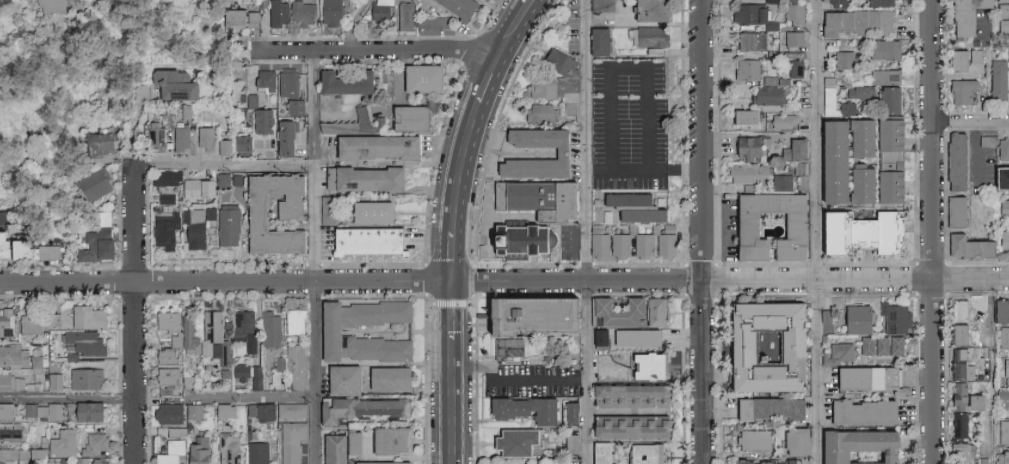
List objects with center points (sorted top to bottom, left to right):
building: (97, 0)
building: (786, 0)
building: (1003, 0)
building: (259, 3)
building: (880, 3)
building: (834, 4)
building: (60, 6)
building: (456, 6)
building: (599, 6)
building: (646, 10)
building: (276, 12)
building: (330, 12)
building: (299, 13)
building: (792, 13)
building: (229, 16)
building: (251, 16)
building: (963, 16)
building: (1003, 18)
building: (863, 22)
road: (354, 24)
road: (519, 24)
building: (827, 24)
building: (649, 37)
building: (792, 39)
building: (749, 41)
building: (595, 42)
road: (380, 50)
building: (885, 50)
building: (1008, 55)
building: (975, 56)
building: (842, 60)
building: (956, 60)
building: (793, 68)
park: (84, 69)
road: (627, 69)
building: (745, 69)
road: (491, 75)
building: (416, 77)
building: (885, 77)
building: (264, 78)
building: (998, 79)
building: (556, 80)
building: (339, 81)
building: (286, 82)
building: (173, 84)
building: (960, 91)
building: (857, 92)
building: (767, 94)
building: (888, 100)
building: (291, 105)
building: (836, 106)
building: (540, 112)
building: (739, 115)
building: (409, 117)
building: (782, 120)
road: (971, 122)
building: (272, 128)
building: (856, 136)
building: (203, 137)
building: (155, 138)
building: (180, 138)
building: (889, 138)
road: (587, 139)
road: (704, 139)
building: (241, 142)
building: (96, 145)
building: (371, 145)
building: (222, 146)
building: (748, 146)
building: (1003, 148)
building: (793, 149)
road: (977, 151)
building: (559, 152)
building: (828, 160)
building: (954, 160)
road: (224, 165)
road: (463, 166)
road: (589, 169)
road: (628, 169)
road: (685, 169)
building: (746, 173)
building: (164, 177)
building: (781, 182)
building: (91, 184)
building: (856, 184)
building: (888, 186)
building: (194, 187)
building: (164, 197)
building: (536, 198)
building: (631, 206)
building: (1004, 206)
building: (954, 210)
building: (367, 211)
building: (207, 212)
building: (256, 212)
building: (103, 218)
building: (742, 224)
building: (225, 226)
building: (191, 228)
building: (162, 230)
building: (841, 231)
road: (934, 231)
road: (819, 232)
building: (887, 232)
building: (526, 238)
building: (362, 239)
building: (662, 239)
building: (597, 240)
building: (1005, 240)
building: (92, 244)
building: (618, 244)
building: (641, 244)
building: (967, 246)
building: (12, 247)
building: (42, 252)
road: (316, 256)
road: (455, 256)
road: (504, 280)
road: (454, 309)
building: (956, 309)
building: (614, 310)
building: (999, 310)
building: (652, 311)
building: (374, 312)
building: (523, 313)
road: (136, 315)
building: (895, 317)
building: (855, 318)
building: (61, 319)
building: (164, 321)
building: (293, 321)
building: (5, 322)
building: (837, 322)
building: (243, 328)
building: (269, 328)
building: (326, 330)
building: (210, 333)
building: (188, 334)
building: (958, 334)
building: (633, 336)
building: (1004, 337)
building: (82, 342)
building: (865, 344)
building: (888, 344)
building: (759, 345)
building: (516, 347)
building: (374, 348)
building: (839, 350)
building: (224, 352)
building: (166, 355)
building: (21, 357)
building: (824, 359)
building: (278, 363)
building: (643, 365)
building: (960, 365)
building: (294, 366)
road: (992, 370)
building: (239, 371)
road: (706, 371)
building: (1006, 371)
road: (589, 372)
building: (166, 375)
building: (255, 376)
building: (864, 376)
building: (385, 377)
building: (84, 378)
building: (338, 379)
road: (521, 379)
building: (53, 380)
building: (10, 381)
building: (1003, 393)
building: (627, 394)
road: (254, 397)
building: (961, 397)
road: (68, 399)
road: (454, 402)
building: (359, 407)
building: (767, 407)
building: (522, 408)
building: (290, 409)
building: (21, 410)
building: (84, 410)
building: (193, 410)
building: (223, 410)
building: (259, 411)
building: (857, 411)
building: (53, 412)
building: (1008, 412)
building: (166, 413)
building: (569, 413)
building: (957, 424)
building: (626, 426)
building: (1003, 431)
building: (9, 432)
building: (750, 439)
building: (290, 440)
building: (386, 440)
building: (791, 440)
building: (512, 441)
building: (349, 442)
building: (61, 443)
building: (92, 443)
building: (569, 444)
building: (854, 446)
building: (168, 448)
building: (330, 448)
building: (958, 451)
building: (35, 452)
building: (256, 452)
building: (598, 452)
building: (13, 453)
building: (192, 453)
building: (641, 453)
building: (1002, 459)
building: (983, 460)
building: (1, 462)
building: (96, 462)
building: (381, 462)
building: (762, 462)

